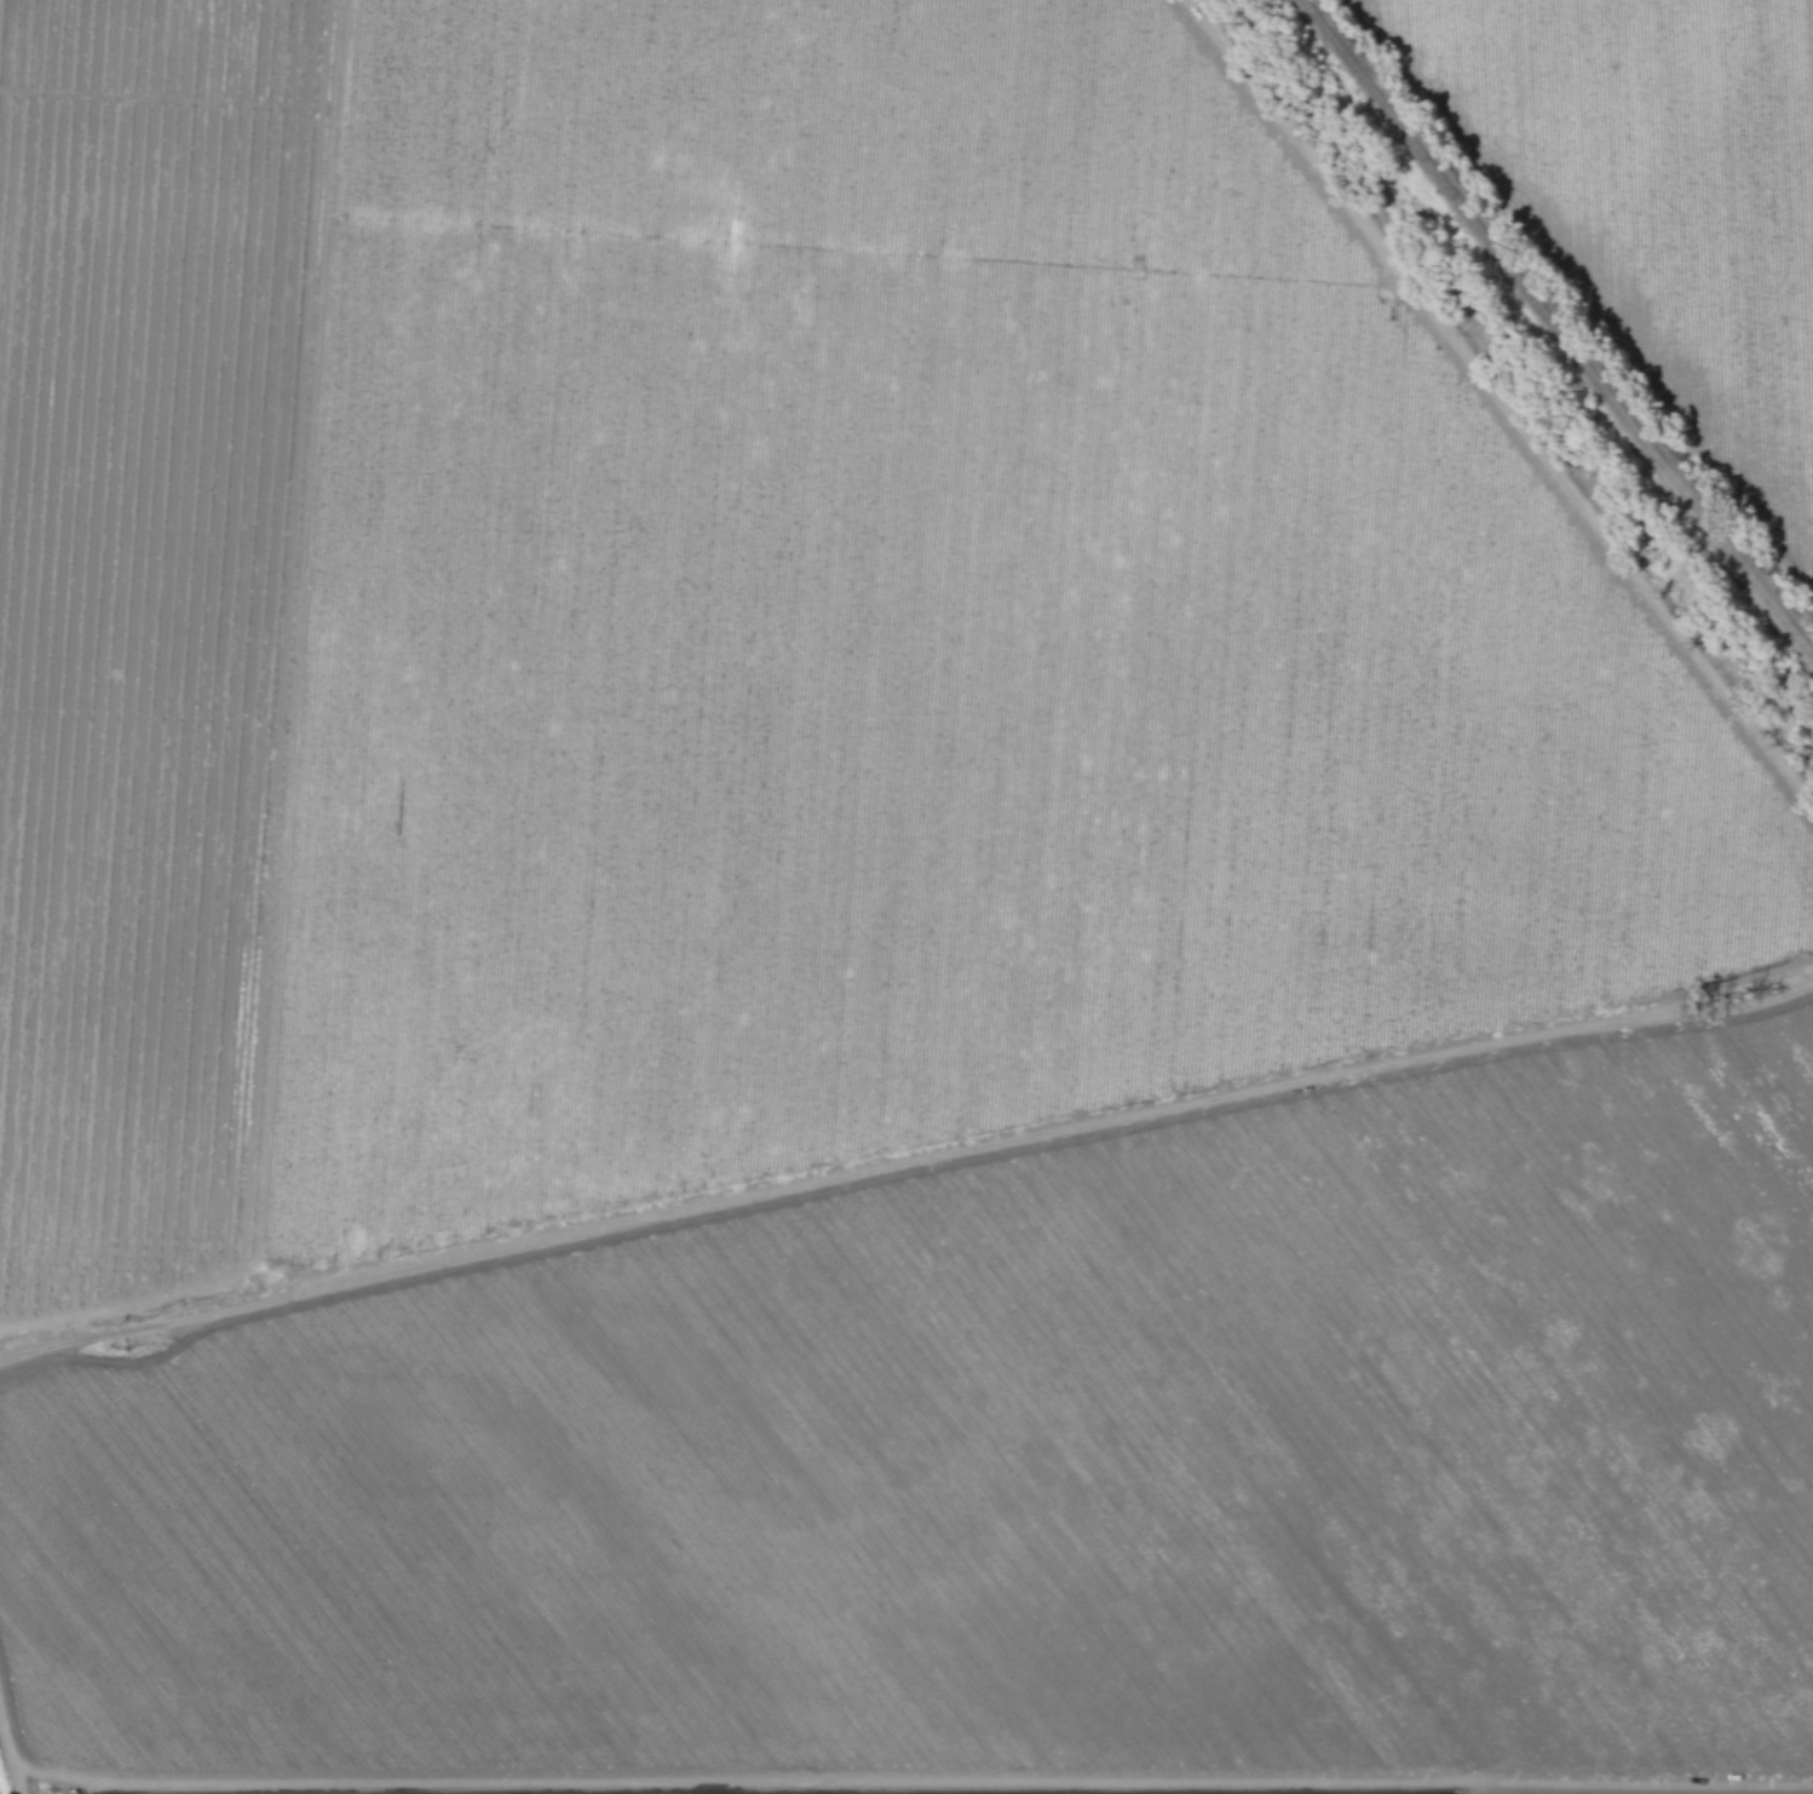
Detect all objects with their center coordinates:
road: (1214, 46)
railway: (1560, 324)
crop: (907, 897)

